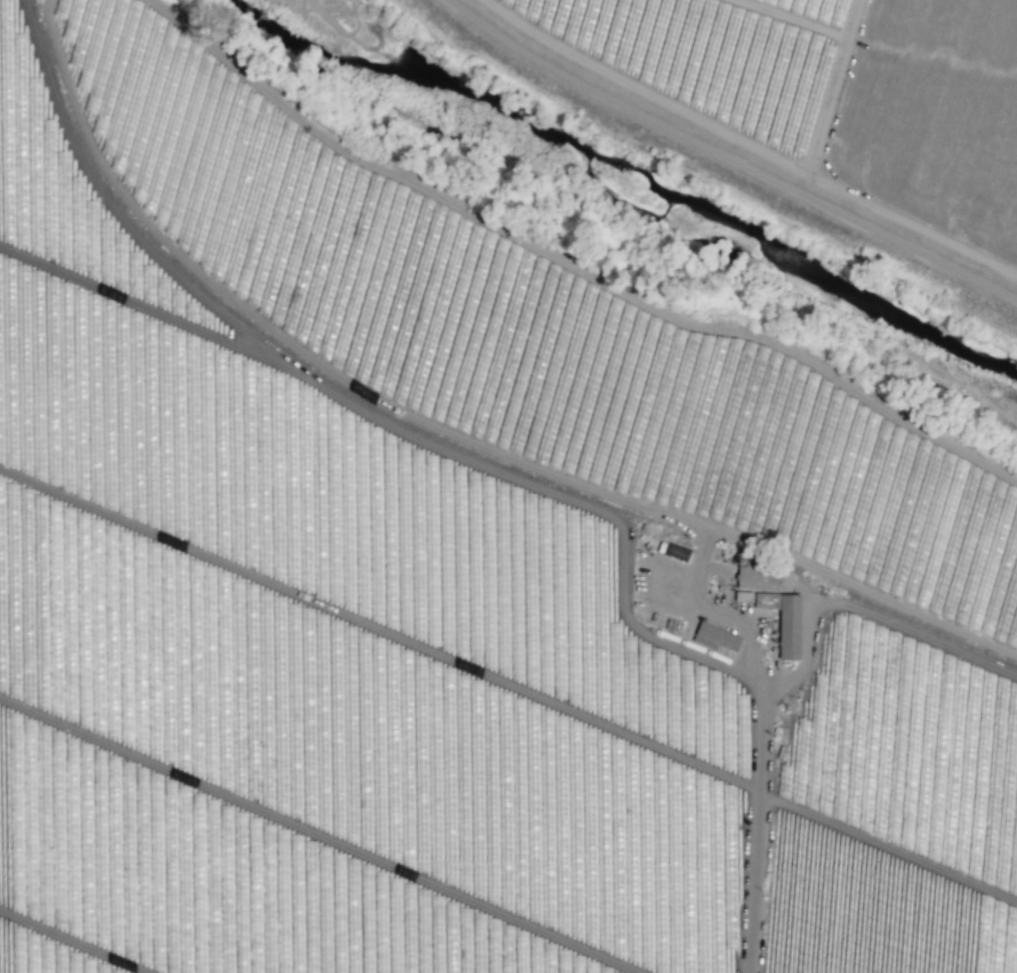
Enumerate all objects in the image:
road: (722, 130)
river: (599, 221)
building: (677, 552)
building: (757, 578)
crop: (452, 584)
building: (742, 596)
building: (789, 627)
building: (717, 636)
road: (759, 825)

